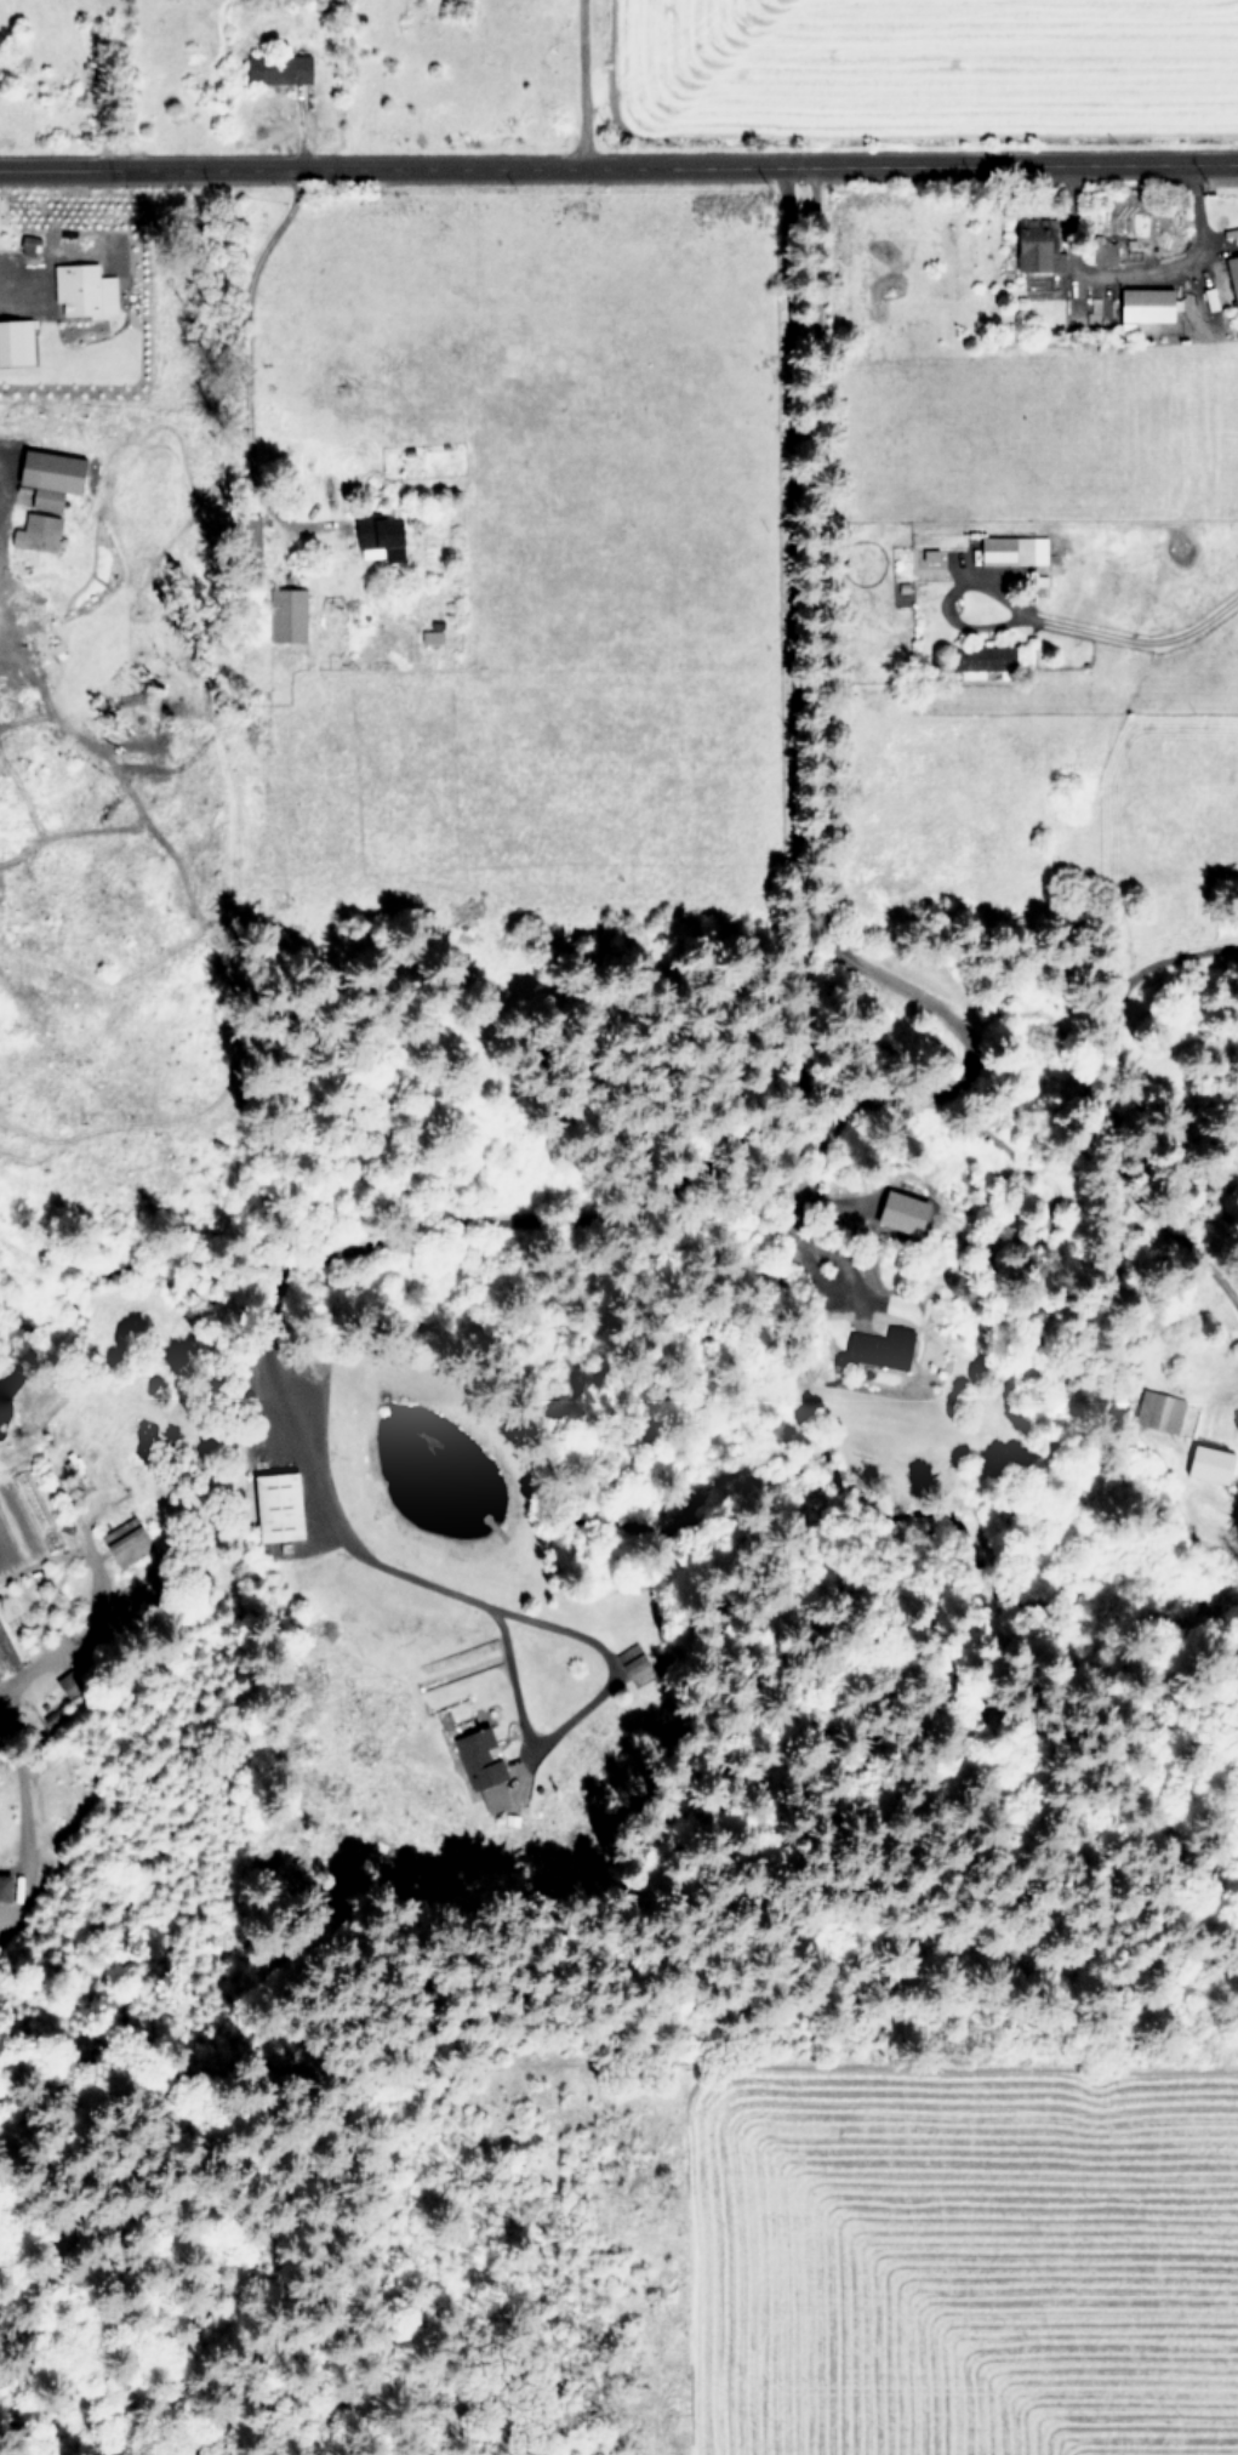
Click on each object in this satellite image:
crop: (600, 56)
building: (281, 68)
road: (578, 82)
road: (618, 166)
building: (1033, 246)
building: (1101, 254)
road: (1133, 269)
building: (1231, 278)
road: (21, 284)
building: (86, 287)
building: (1208, 297)
building: (1140, 304)
building: (18, 340)
road: (243, 364)
building: (58, 469)
building: (51, 499)
building: (40, 531)
building: (384, 536)
building: (1009, 548)
road: (947, 608)
building: (291, 614)
road: (1142, 648)
building: (985, 657)
road: (817, 885)
road: (1112, 1115)
road: (574, 1219)
building: (875, 1348)
building: (1204, 1463)
building: (276, 1505)
building: (130, 1539)
road: (91, 1630)
building: (486, 1767)
road: (22, 1839)
building: (8, 1885)

